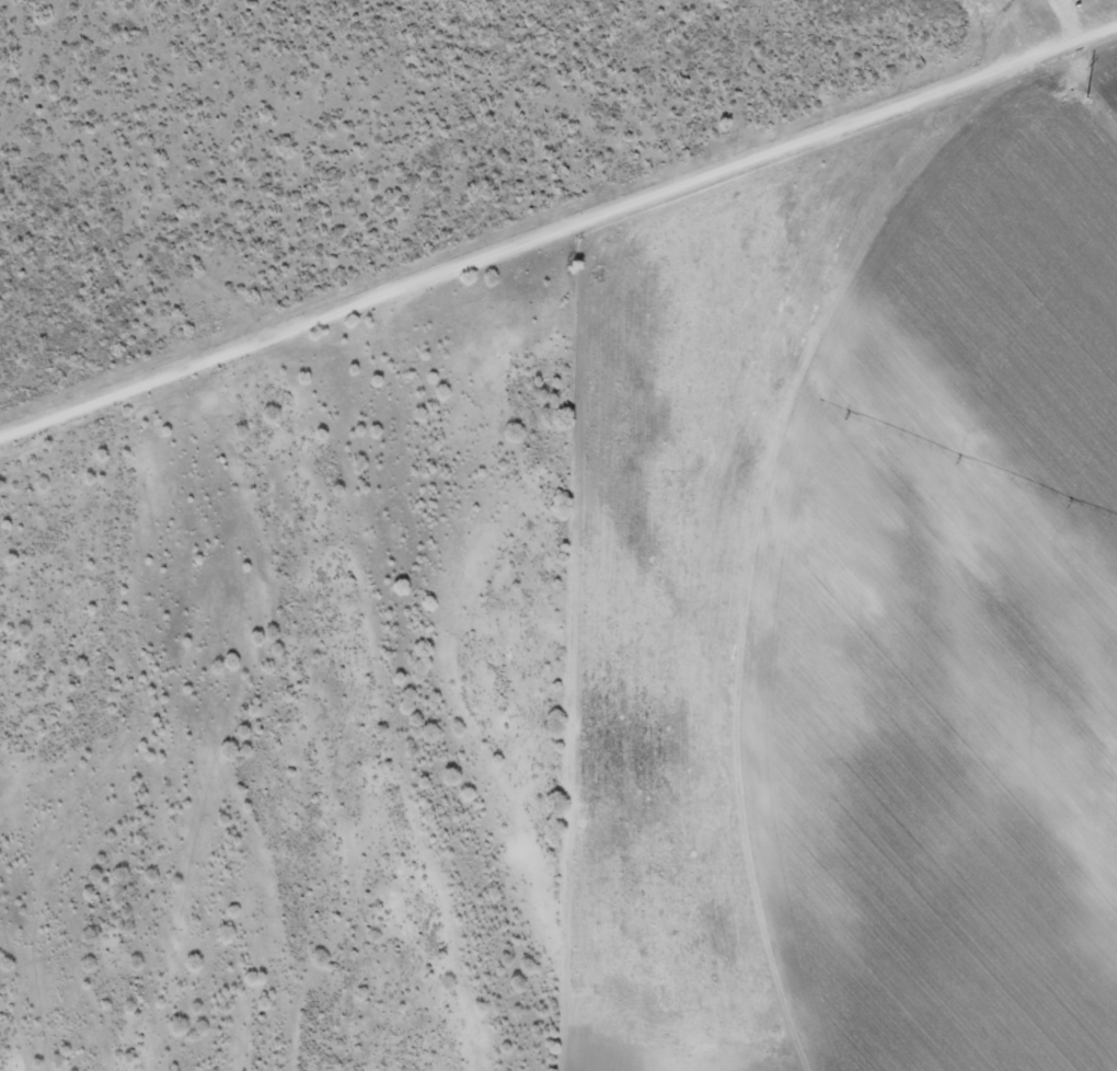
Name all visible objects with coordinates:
power tower: (1091, 106)

